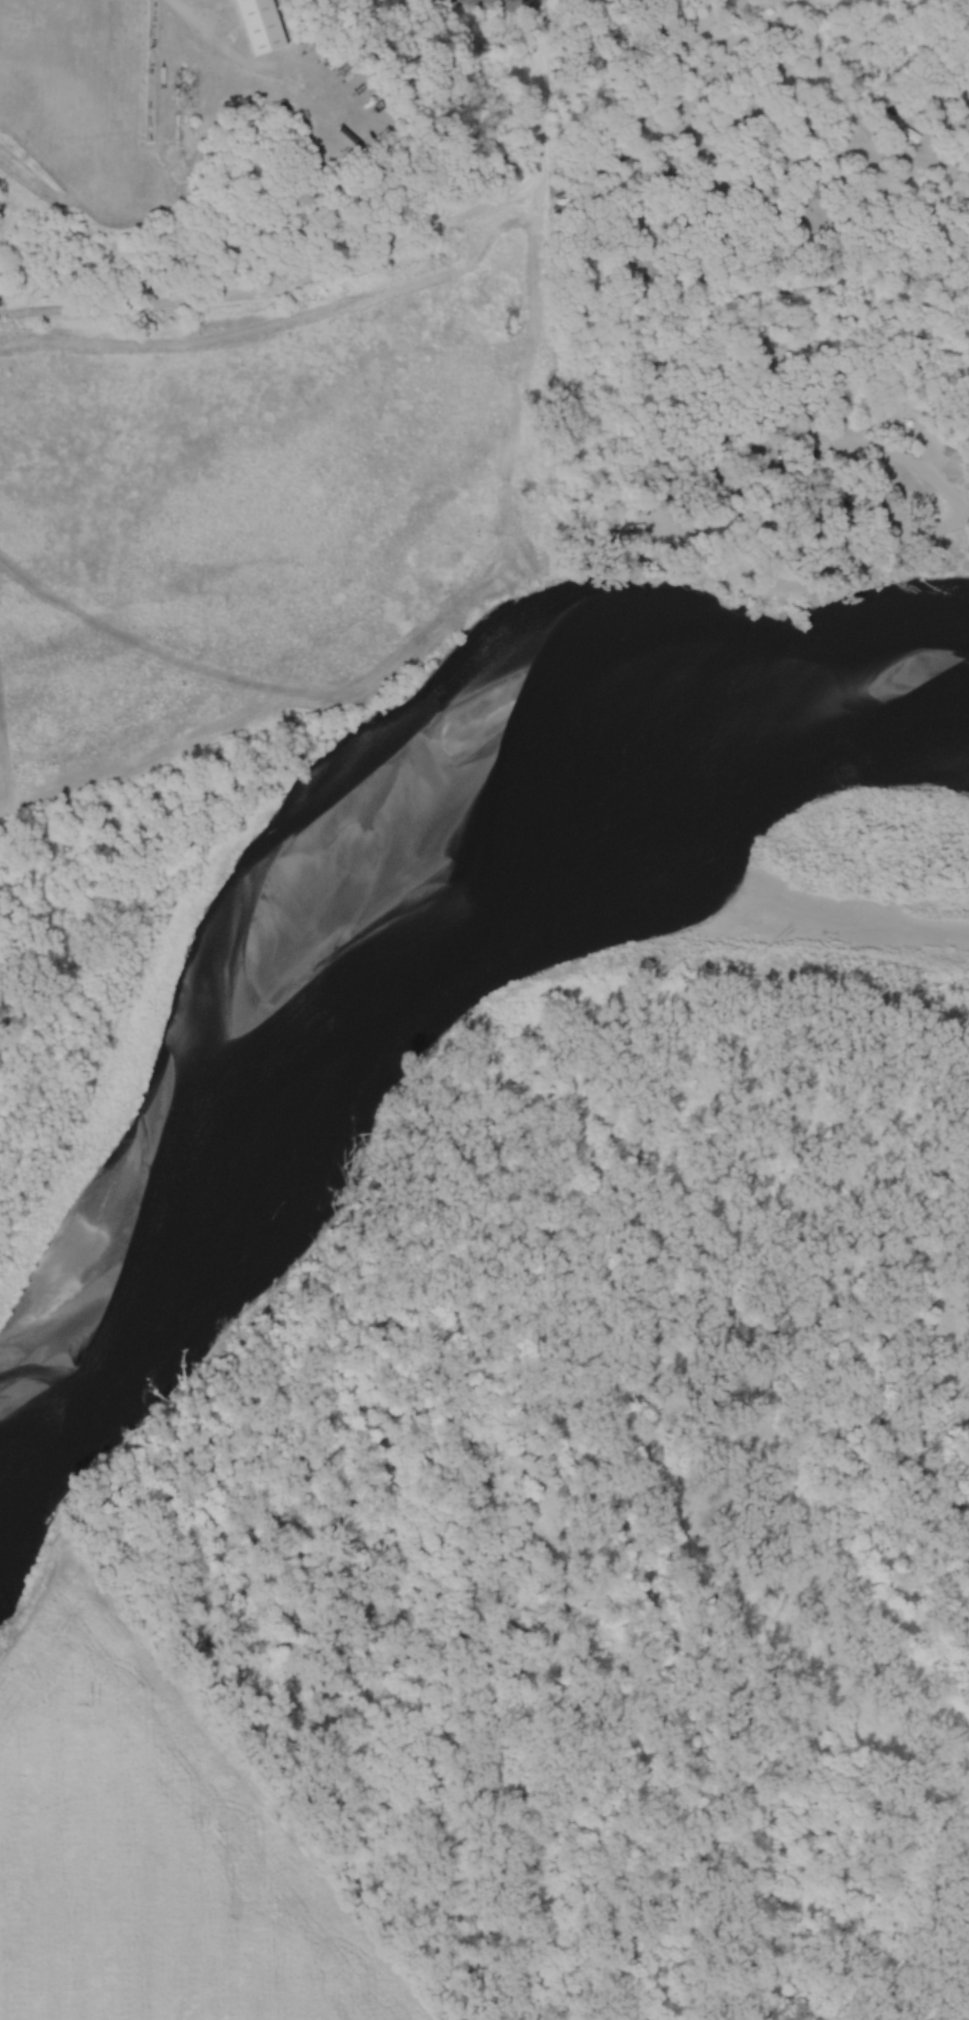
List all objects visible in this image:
building: (263, 25)
building: (918, 126)
road: (852, 444)
building: (957, 565)
river: (410, 980)

